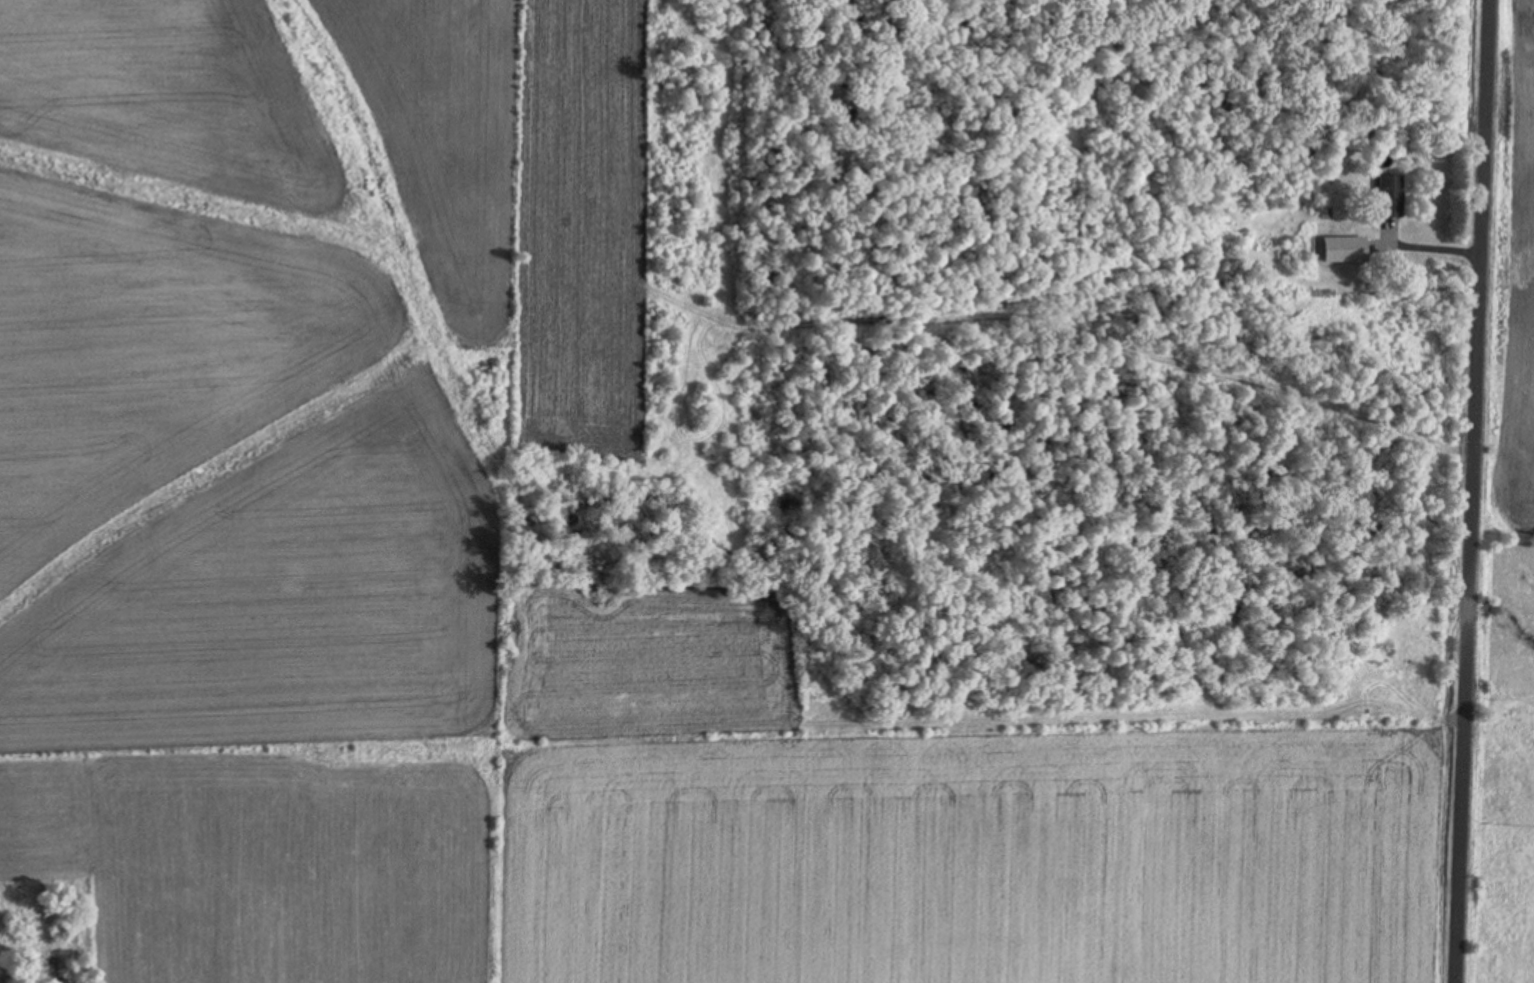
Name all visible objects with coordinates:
building: (1385, 193)
building: (1340, 248)
road: (1468, 491)

